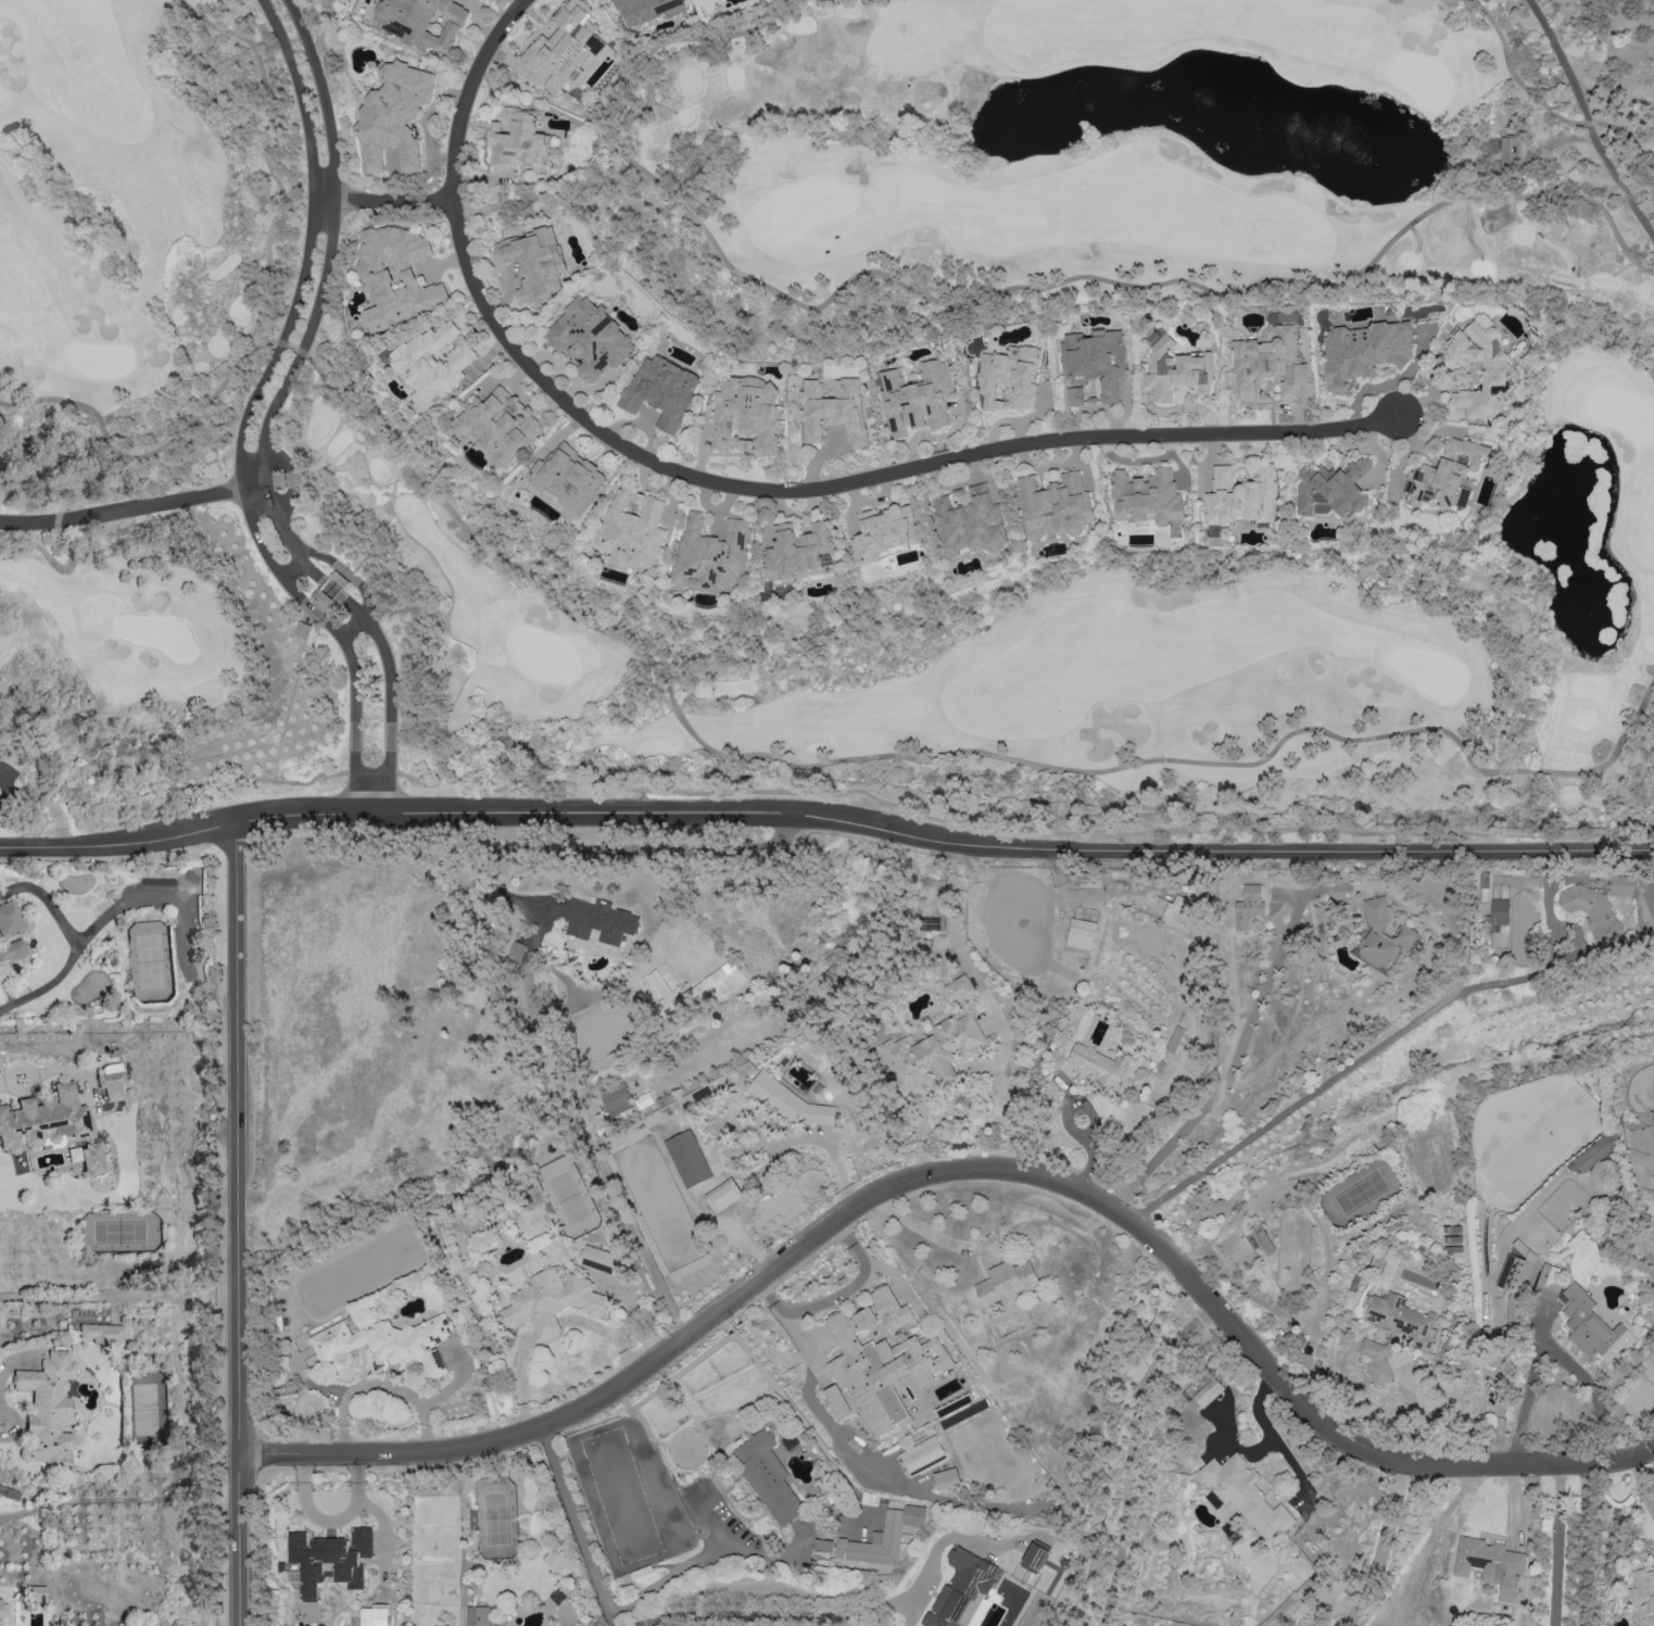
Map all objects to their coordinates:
building: (643, 9)
building: (422, 21)
building: (565, 46)
road: (1525, 87)
building: (394, 116)
road: (1588, 119)
building: (518, 141)
building: (1510, 149)
road: (553, 196)
road: (387, 199)
road: (319, 250)
building: (534, 263)
building: (397, 276)
road: (981, 299)
building: (590, 337)
road: (290, 350)
building: (1363, 351)
building: (1270, 363)
building: (432, 364)
building: (1093, 364)
building: (1478, 368)
building: (1175, 369)
building: (1008, 378)
building: (661, 391)
building: (917, 399)
road: (73, 404)
building: (832, 408)
building: (746, 415)
building: (496, 427)
road: (176, 439)
building: (1444, 474)
building: (568, 477)
road: (746, 486)
building: (1331, 489)
building: (1146, 496)
building: (1238, 499)
road: (254, 500)
building: (1053, 506)
road: (128, 524)
building: (970, 524)
road: (55, 529)
building: (631, 529)
building: (884, 531)
building: (795, 550)
building: (710, 553)
road: (321, 555)
road: (292, 569)
road: (68, 570)
road: (320, 576)
road: (362, 589)
building: (330, 590)
road: (300, 596)
road: (350, 604)
road: (330, 626)
road: (352, 626)
road: (389, 710)
road: (355, 723)
road: (935, 758)
road: (9, 778)
road: (9, 793)
road: (53, 809)
road: (943, 841)
road: (118, 845)
road: (603, 849)
building: (1087, 880)
building: (1620, 885)
building: (1249, 907)
building: (1589, 907)
building: (1178, 913)
building: (1499, 913)
road: (951, 919)
building: (9, 920)
building: (599, 921)
building: (1081, 933)
building: (1381, 934)
building: (11, 951)
road: (73, 954)
building: (958, 988)
road: (1381, 1043)
building: (932, 1054)
building: (1098, 1066)
road: (1230, 1067)
road: (10, 1083)
road: (1040, 1083)
building: (111, 1086)
building: (616, 1098)
building: (798, 1106)
building: (43, 1121)
building: (88, 1159)
road: (837, 1164)
road: (961, 1171)
building: (724, 1196)
road: (236, 1223)
road: (932, 1231)
building: (1263, 1240)
building: (598, 1259)
building: (1514, 1274)
building: (1007, 1283)
building: (1548, 1283)
road: (836, 1296)
building: (553, 1301)
road: (1205, 1315)
building: (1401, 1319)
building: (1592, 1326)
building: (102, 1335)
building: (389, 1343)
building: (882, 1361)
building: (1376, 1363)
road: (1529, 1386)
road: (1595, 1391)
building: (1208, 1392)
building: (837, 1401)
building: (47, 1411)
road: (824, 1412)
road: (14, 1424)
road: (1275, 1439)
road: (1236, 1444)
building: (922, 1455)
road: (1129, 1467)
building: (768, 1476)
building: (946, 1477)
road: (1639, 1485)
building: (1245, 1495)
road: (577, 1527)
building: (882, 1537)
road: (1580, 1545)
building: (823, 1546)
road: (1557, 1546)
road: (1394, 1547)
road: (703, 1554)
building: (1035, 1558)
building: (329, 1559)
building: (1490, 1564)
building: (962, 1589)
building: (35, 1596)
building: (1643, 1596)
building: (2, 1610)
building: (477, 1615)
road: (779, 1616)
building: (551, 1625)

